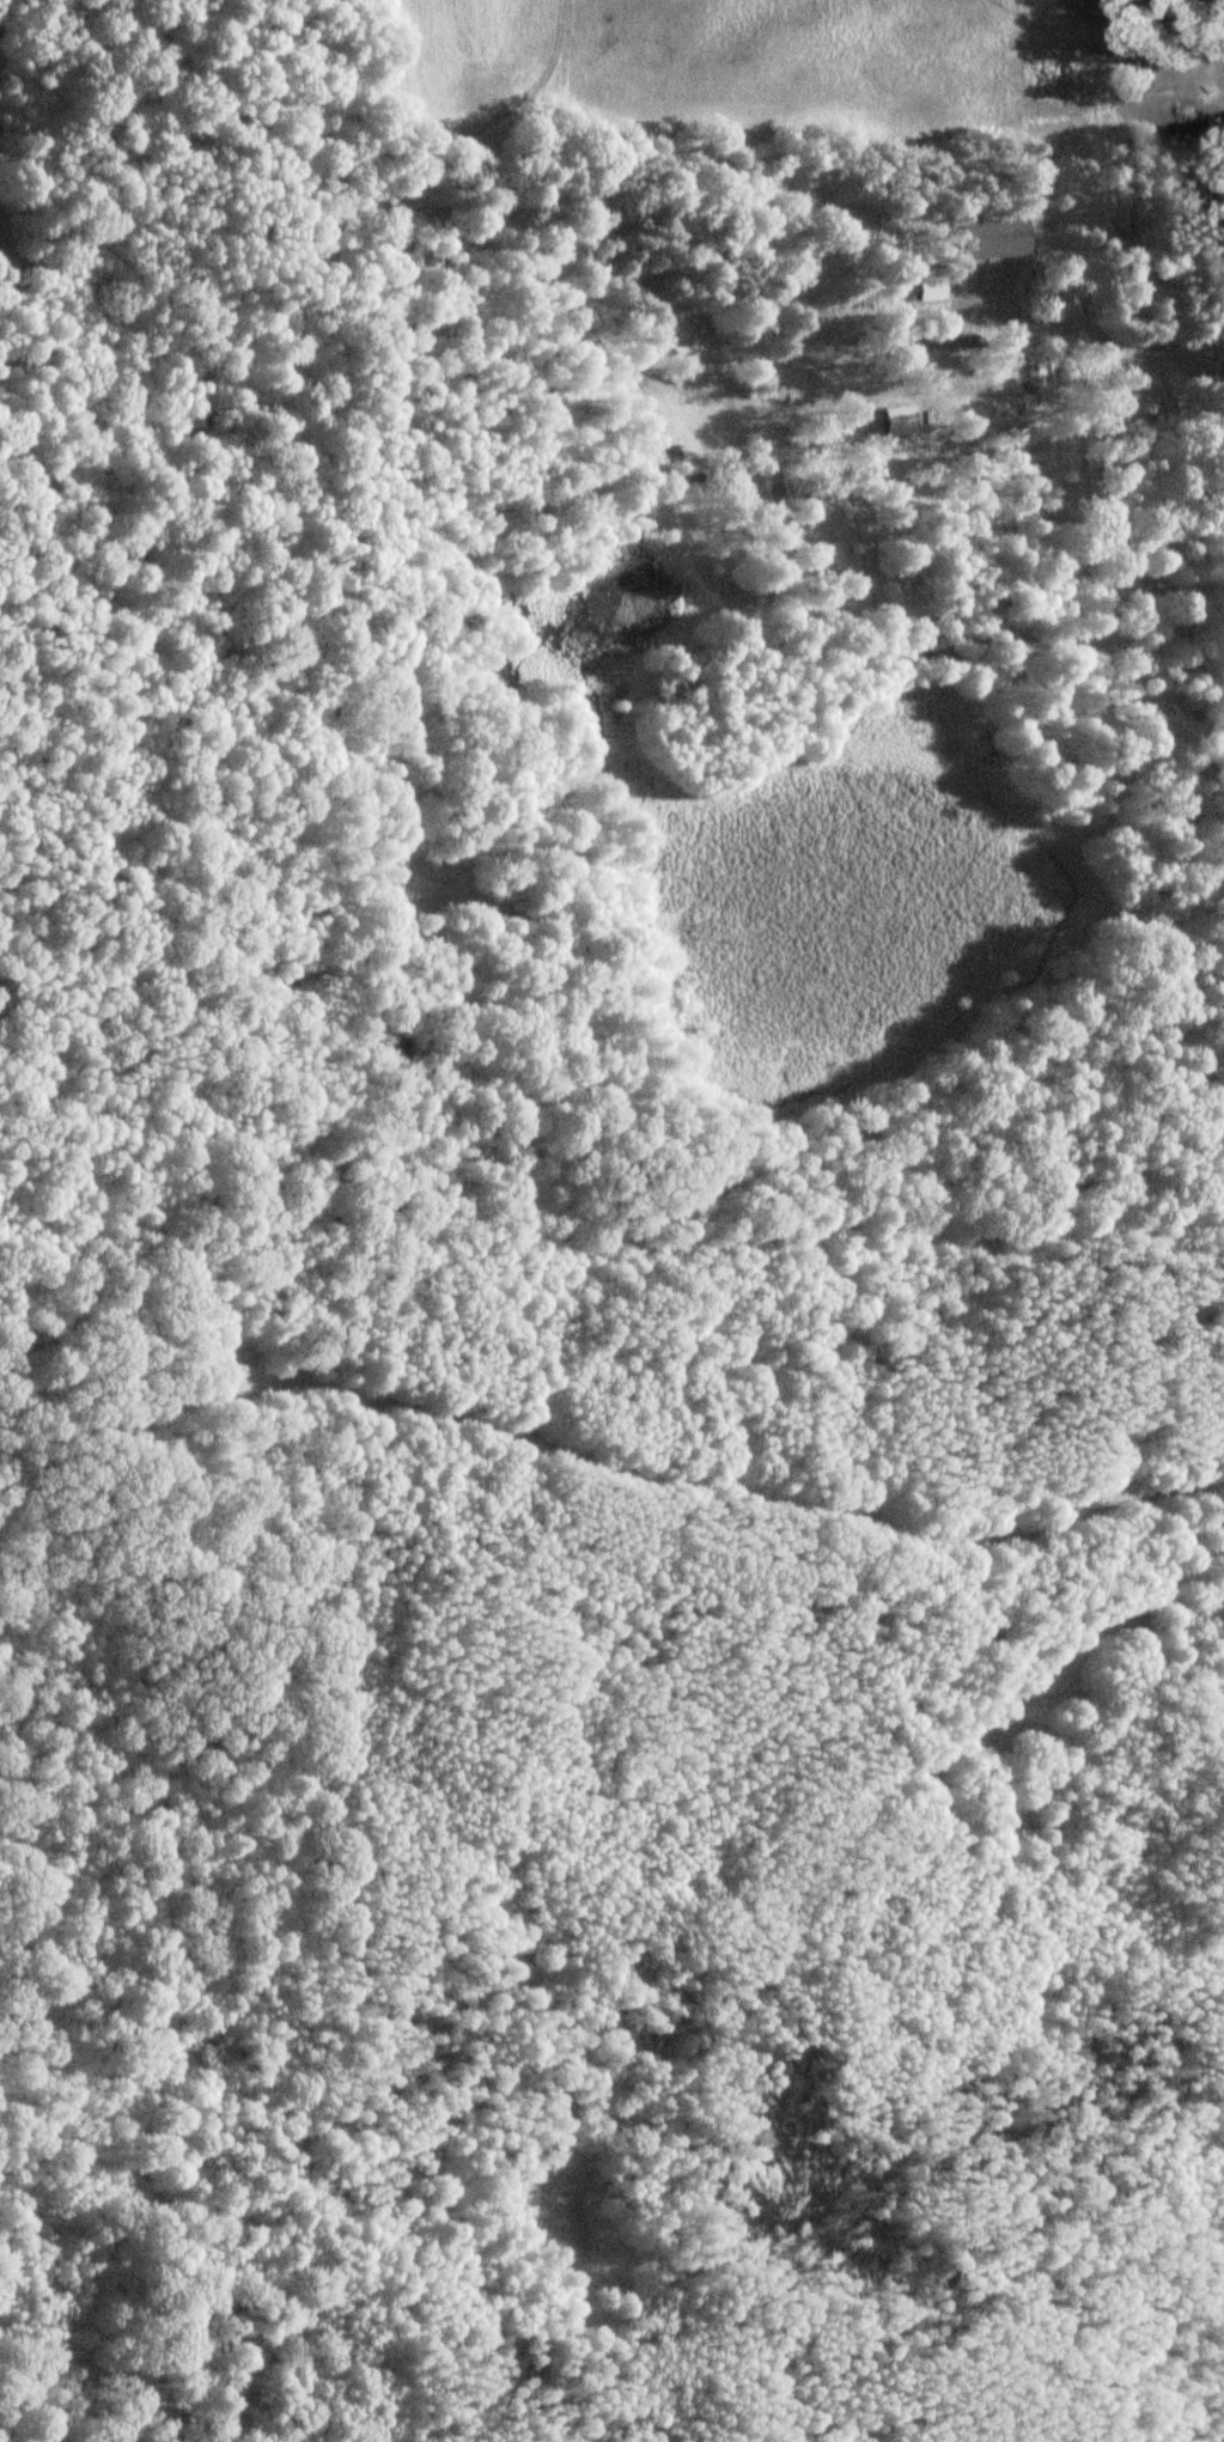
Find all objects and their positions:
crop: (773, 65)
road: (1071, 124)
road: (497, 226)
building: (994, 233)
building: (932, 285)
building: (1064, 303)
road: (1089, 328)
road: (920, 392)
building: (900, 418)
road: (609, 1473)
road: (817, 1955)

